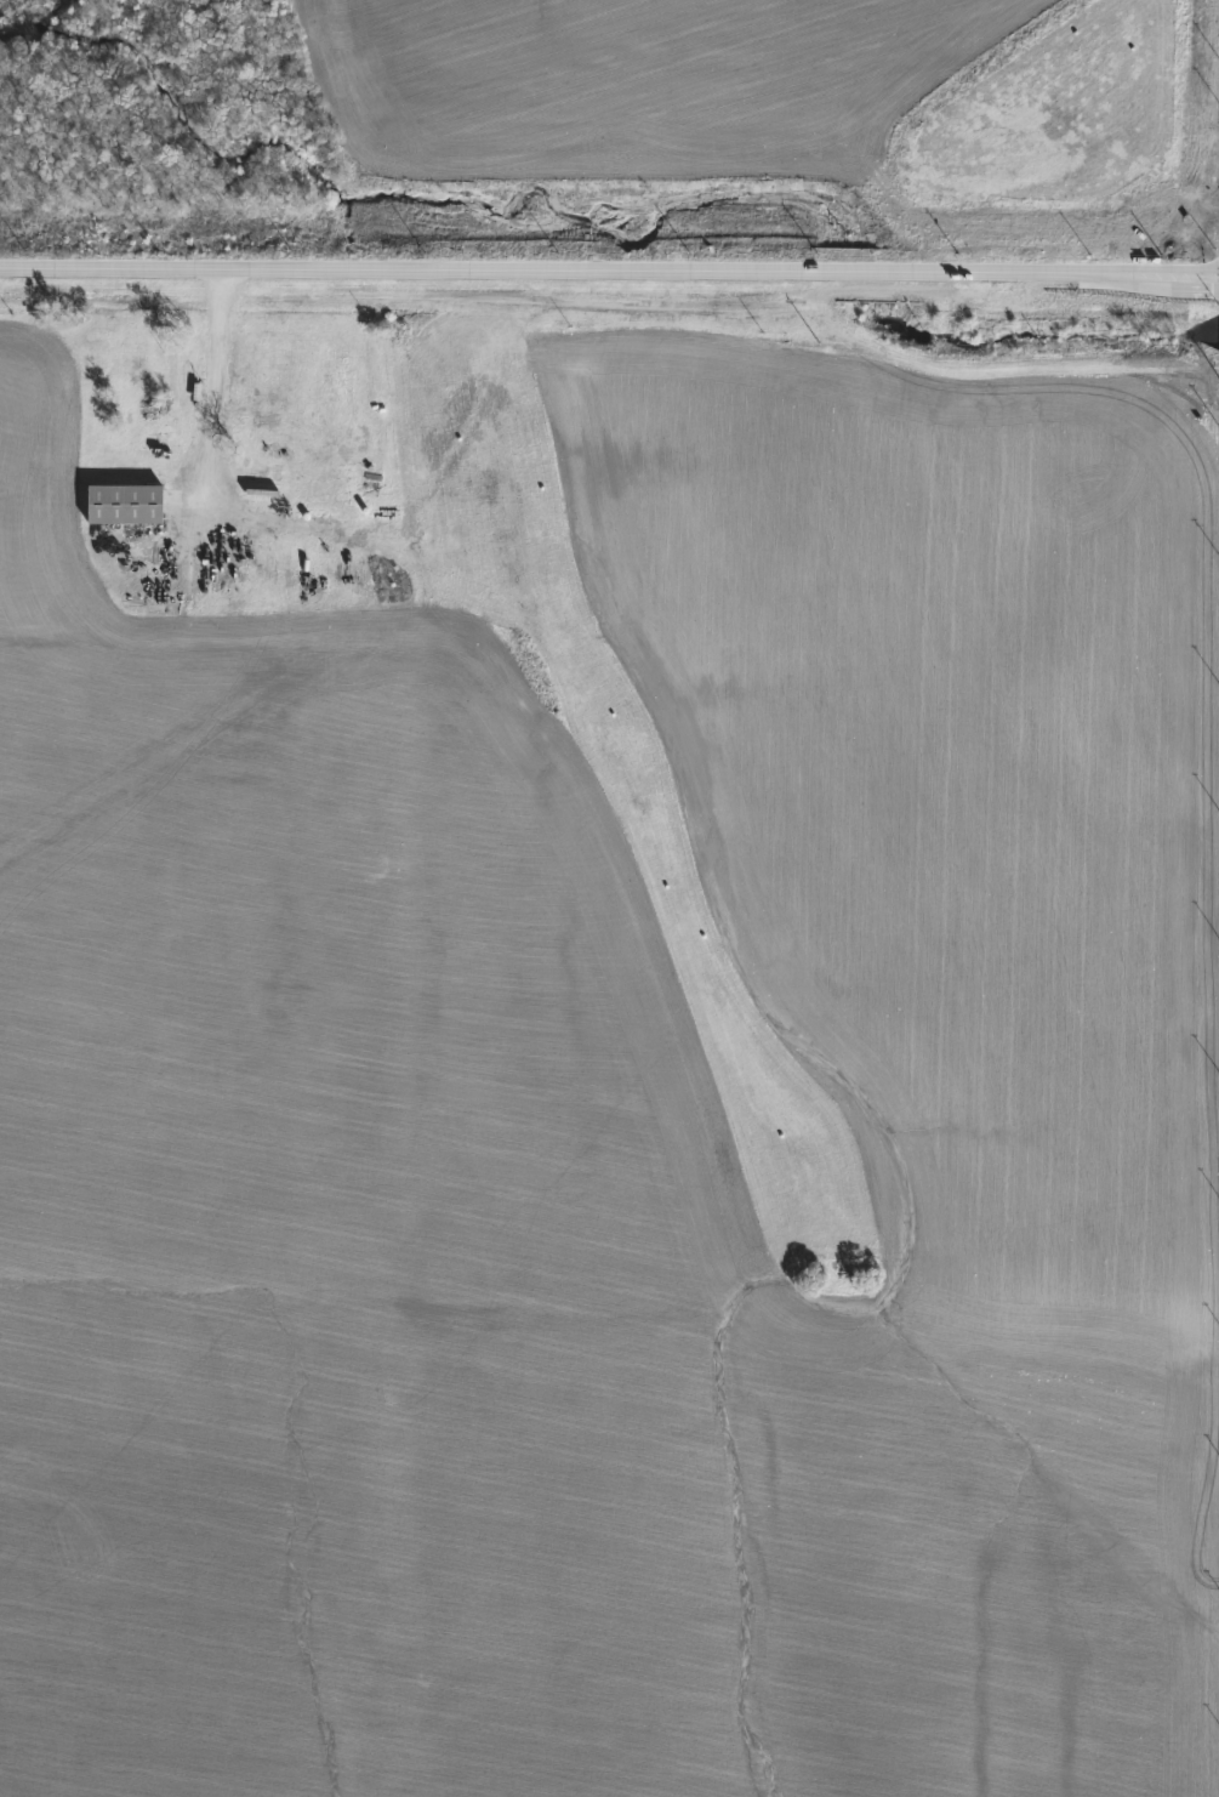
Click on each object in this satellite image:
road: (609, 271)
building: (337, 381)
road: (209, 392)
building: (123, 505)
crop: (602, 1120)

